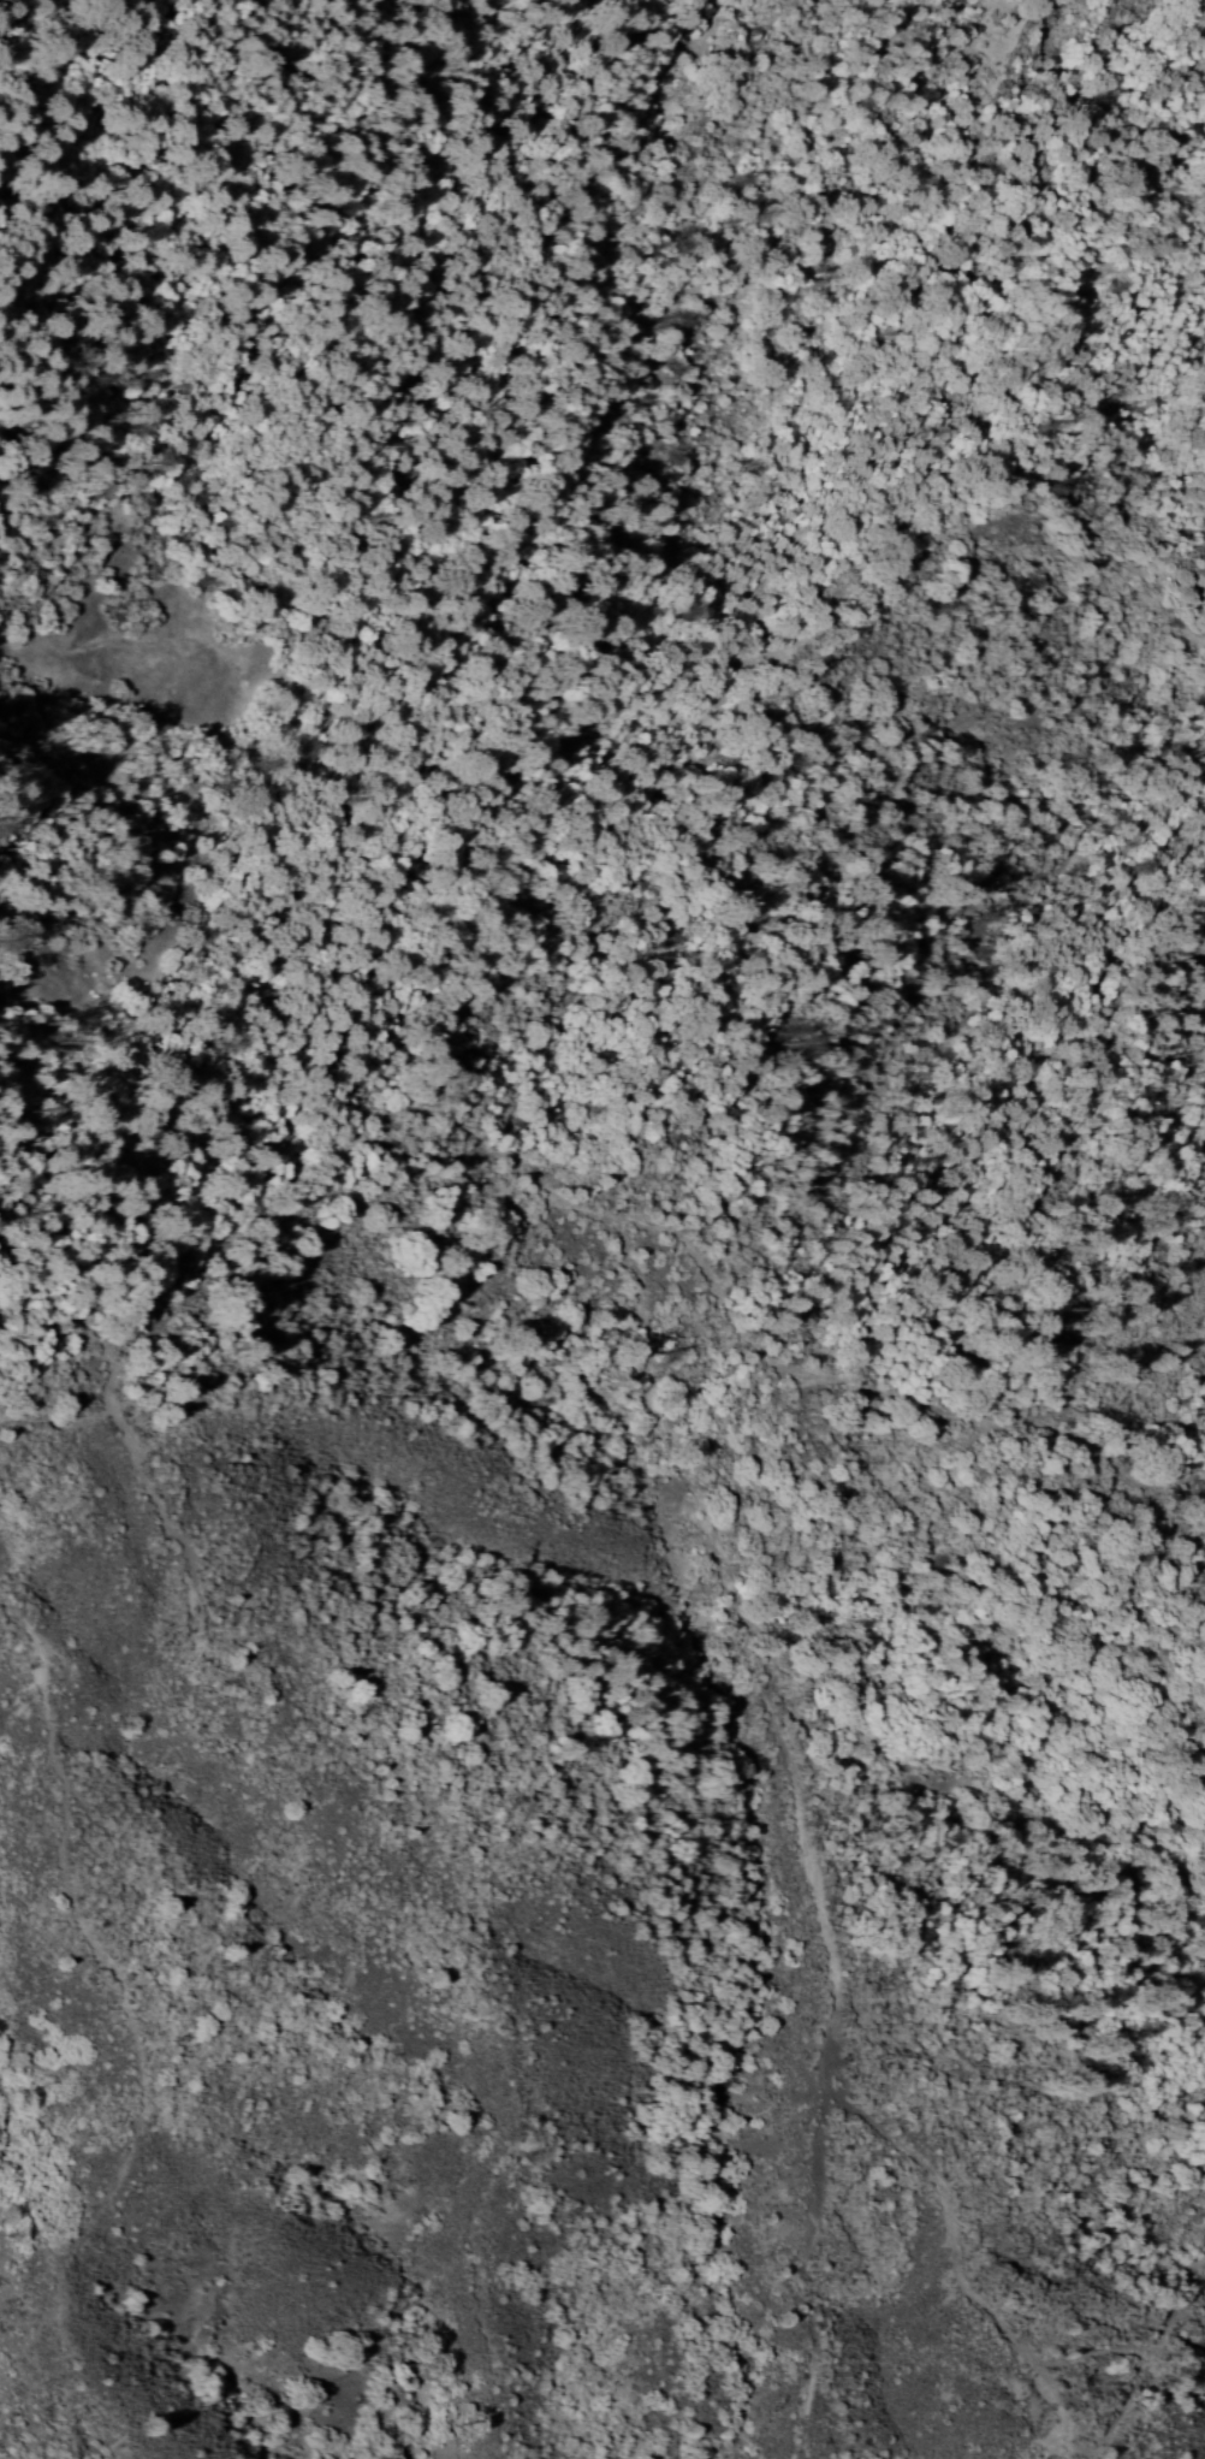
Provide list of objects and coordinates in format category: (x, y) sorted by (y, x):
road: (138, 1370)
road: (1120, 1458)

